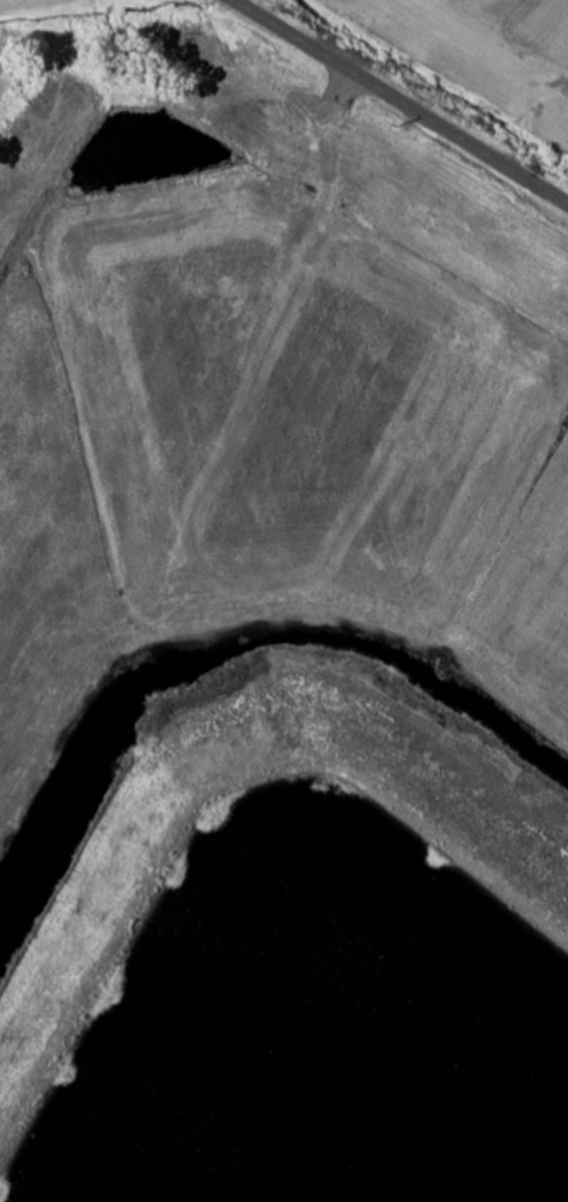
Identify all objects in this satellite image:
road: (398, 102)

